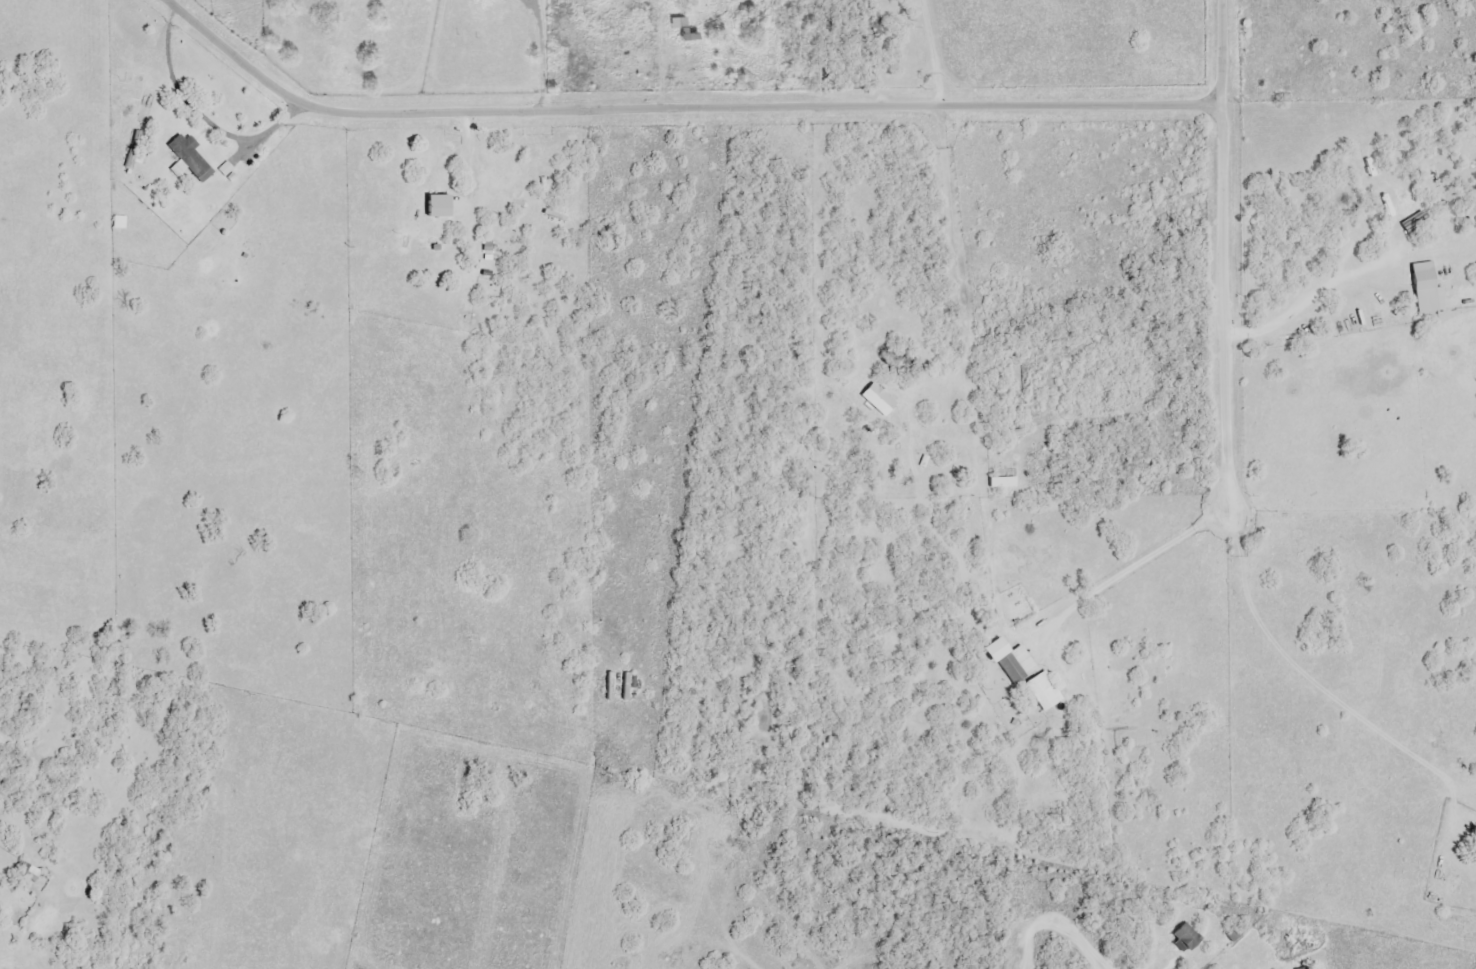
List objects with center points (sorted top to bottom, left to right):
building: (688, 36)
road: (878, 110)
building: (187, 157)
building: (440, 206)
building: (1415, 223)
building: (1421, 265)
building: (879, 400)
building: (1002, 483)
road: (1127, 570)
building: (1011, 661)
building: (1043, 692)
building: (28, 872)
road: (1053, 935)
building: (1187, 937)
building: (1305, 968)

